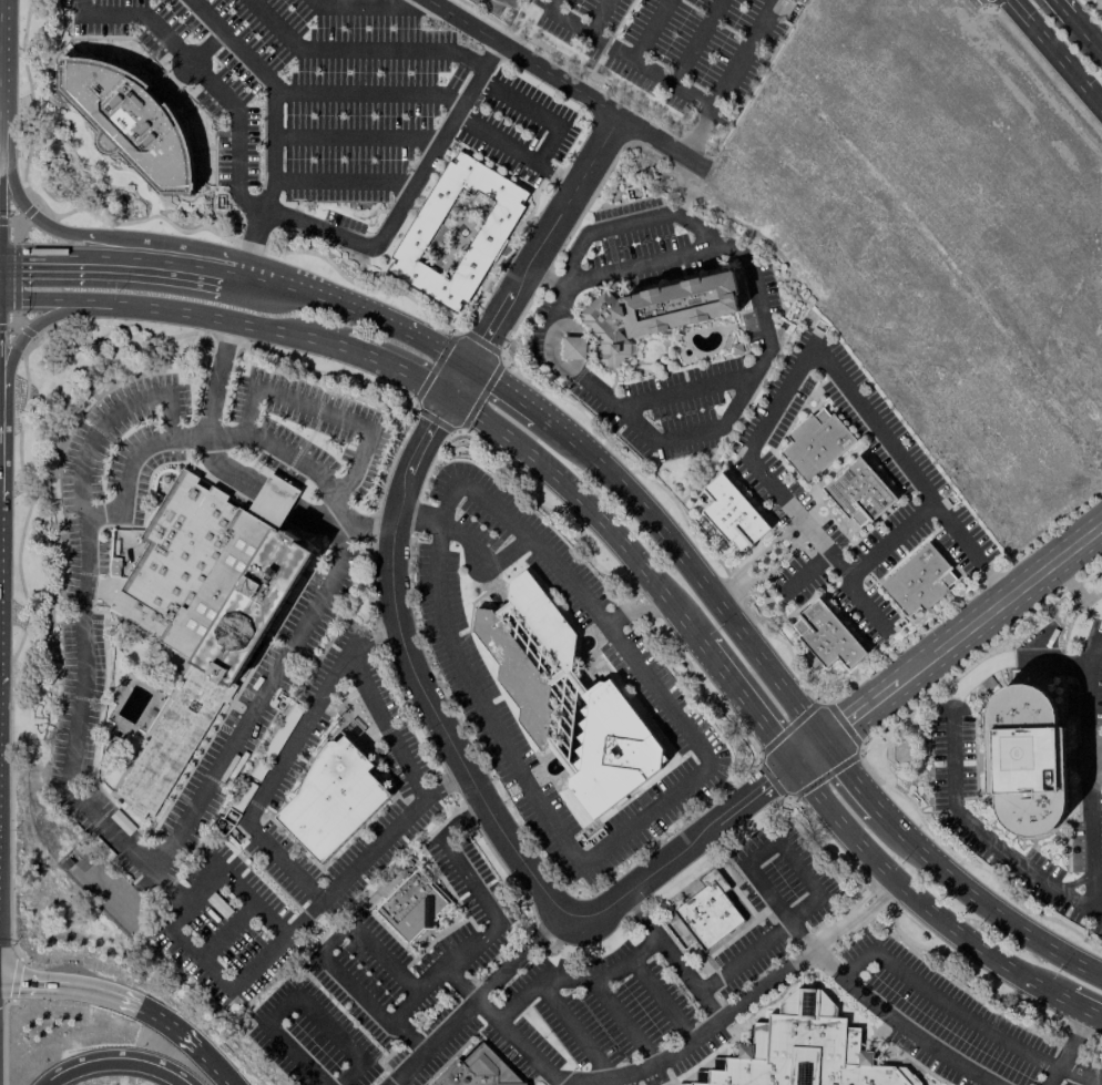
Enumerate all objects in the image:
road: (1064, 4)
road: (361, 6)
road: (79, 7)
road: (1085, 29)
road: (359, 49)
road: (1057, 52)
road: (626, 55)
road: (206, 79)
road: (273, 88)
road: (367, 94)
road: (711, 108)
road: (537, 111)
building: (131, 122)
road: (355, 139)
road: (494, 141)
road: (558, 177)
road: (341, 182)
road: (406, 194)
road: (629, 222)
building: (458, 232)
road: (255, 235)
road: (154, 245)
traffic signals: (17, 256)
road: (111, 256)
road: (288, 288)
road: (44, 303)
building: (656, 314)
road: (216, 318)
road: (35, 325)
road: (395, 326)
building: (573, 348)
road: (767, 352)
road: (452, 356)
road: (802, 357)
road: (400, 366)
road: (215, 378)
road: (504, 389)
road: (326, 413)
road: (692, 434)
building: (816, 443)
road: (129, 463)
road: (310, 467)
road: (222, 471)
building: (861, 493)
road: (274, 501)
road: (591, 508)
building: (734, 514)
road: (314, 520)
road: (394, 539)
road: (886, 540)
road: (86, 542)
road: (483, 556)
road: (757, 562)
road: (691, 569)
building: (919, 582)
road: (632, 590)
building: (207, 606)
road: (647, 610)
road: (1071, 615)
road: (614, 620)
building: (827, 636)
road: (948, 647)
road: (1057, 663)
road: (1061, 665)
road: (1084, 693)
building: (565, 699)
road: (748, 705)
road: (384, 723)
road: (231, 751)
road: (1075, 757)
road: (1088, 757)
road: (282, 759)
building: (1026, 761)
road: (1075, 768)
road: (849, 776)
building: (333, 799)
road: (646, 815)
road: (461, 820)
road: (1089, 833)
road: (986, 836)
road: (371, 847)
road: (1079, 862)
road: (798, 866)
road: (190, 897)
road: (917, 898)
road: (251, 901)
road: (981, 902)
building: (411, 907)
building: (708, 912)
road: (226, 932)
road: (334, 936)
road: (481, 938)
road: (743, 955)
road: (385, 958)
road: (672, 958)
road: (197, 960)
road: (856, 963)
road: (259, 964)
road: (572, 979)
traffic signals: (12, 982)
road: (355, 987)
road: (854, 993)
road: (113, 994)
road: (473, 997)
road: (663, 1000)
road: (742, 1003)
road: (1084, 1009)
road: (623, 1020)
road: (325, 1022)
road: (980, 1026)
road: (503, 1027)
road: (573, 1028)
road: (409, 1034)
road: (1068, 1048)
building: (803, 1051)
road: (124, 1054)
road: (294, 1054)
road: (37, 1056)
road: (10, 1069)
building: (479, 1071)
road: (220, 1072)

